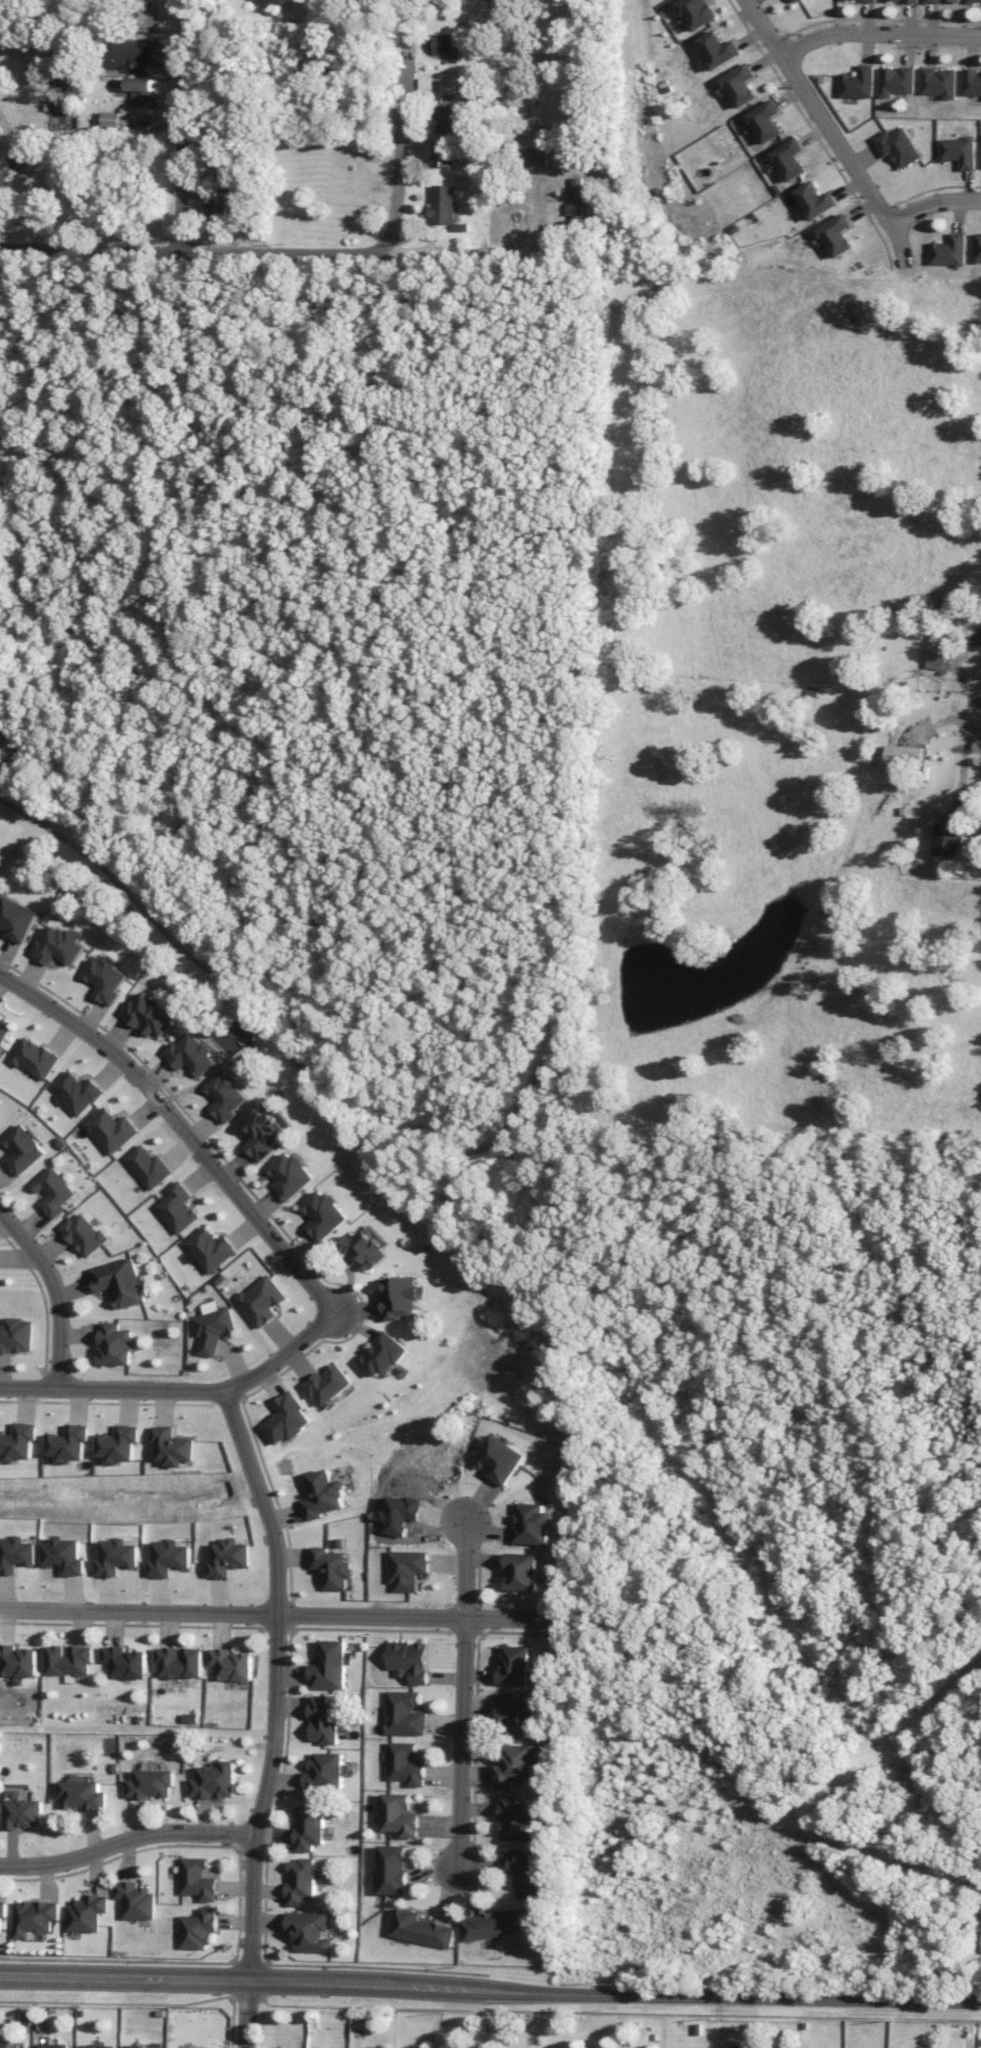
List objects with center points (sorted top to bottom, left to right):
building: (795, 0)
building: (869, 0)
building: (903, 0)
building: (943, 0)
building: (974, 1)
building: (696, 12)
road: (879, 32)
building: (440, 43)
building: (717, 49)
building: (130, 52)
building: (896, 80)
building: (939, 81)
building: (972, 81)
building: (858, 82)
building: (740, 84)
building: (142, 90)
building: (444, 118)
building: (110, 119)
building: (765, 121)
road: (185, 126)
road: (831, 130)
building: (897, 146)
building: (958, 151)
building: (441, 153)
building: (535, 155)
road: (401, 156)
building: (789, 159)
building: (815, 199)
building: (576, 202)
road: (932, 203)
building: (441, 204)
building: (216, 208)
building: (836, 234)
building: (977, 247)
building: (949, 250)
road: (216, 253)
building: (936, 649)
road: (968, 727)
building: (904, 756)
building: (950, 833)
building: (17, 918)
building: (58, 945)
building: (105, 979)
building: (150, 1013)
building: (4, 1029)
road: (272, 1035)
building: (190, 1054)
building: (33, 1057)
building: (76, 1092)
building: (225, 1096)
road: (182, 1127)
building: (110, 1129)
building: (262, 1130)
building: (21, 1149)
building: (146, 1166)
building: (289, 1175)
building: (52, 1191)
building: (176, 1207)
building: (323, 1214)
building: (83, 1234)
building: (209, 1248)
building: (365, 1249)
building: (118, 1281)
road: (53, 1290)
building: (400, 1296)
building: (260, 1300)
building: (211, 1325)
building: (15, 1335)
building: (114, 1344)
building: (383, 1353)
building: (327, 1383)
road: (180, 1389)
building: (287, 1418)
building: (18, 1441)
building: (68, 1442)
building: (119, 1443)
building: (172, 1446)
building: (501, 1458)
building: (323, 1494)
building: (531, 1524)
building: (229, 1557)
building: (332, 1567)
building: (406, 1568)
building: (520, 1570)
road: (281, 1613)
building: (68, 1660)
building: (408, 1660)
building: (17, 1661)
building: (124, 1662)
building: (178, 1662)
building: (229, 1664)
building: (513, 1665)
building: (329, 1666)
road: (461, 1692)
building: (403, 1713)
building: (516, 1713)
road: (275, 1715)
building: (323, 1720)
building: (405, 1763)
building: (518, 1764)
building: (325, 1772)
building: (214, 1780)
building: (150, 1783)
building: (82, 1795)
building: (23, 1813)
building: (399, 1815)
building: (516, 1819)
building: (309, 1826)
road: (125, 1839)
building: (392, 1869)
building: (525, 1873)
building: (195, 1879)
building: (300, 1880)
building: (134, 1899)
building: (3, 1910)
building: (86, 1912)
building: (34, 1916)
building: (490, 1924)
building: (196, 1928)
building: (420, 1928)
building: (309, 1931)
building: (980, 1936)
road: (490, 1991)
building: (4, 2045)
building: (51, 2045)
building: (96, 2046)
building: (133, 2046)
building: (197, 2047)

